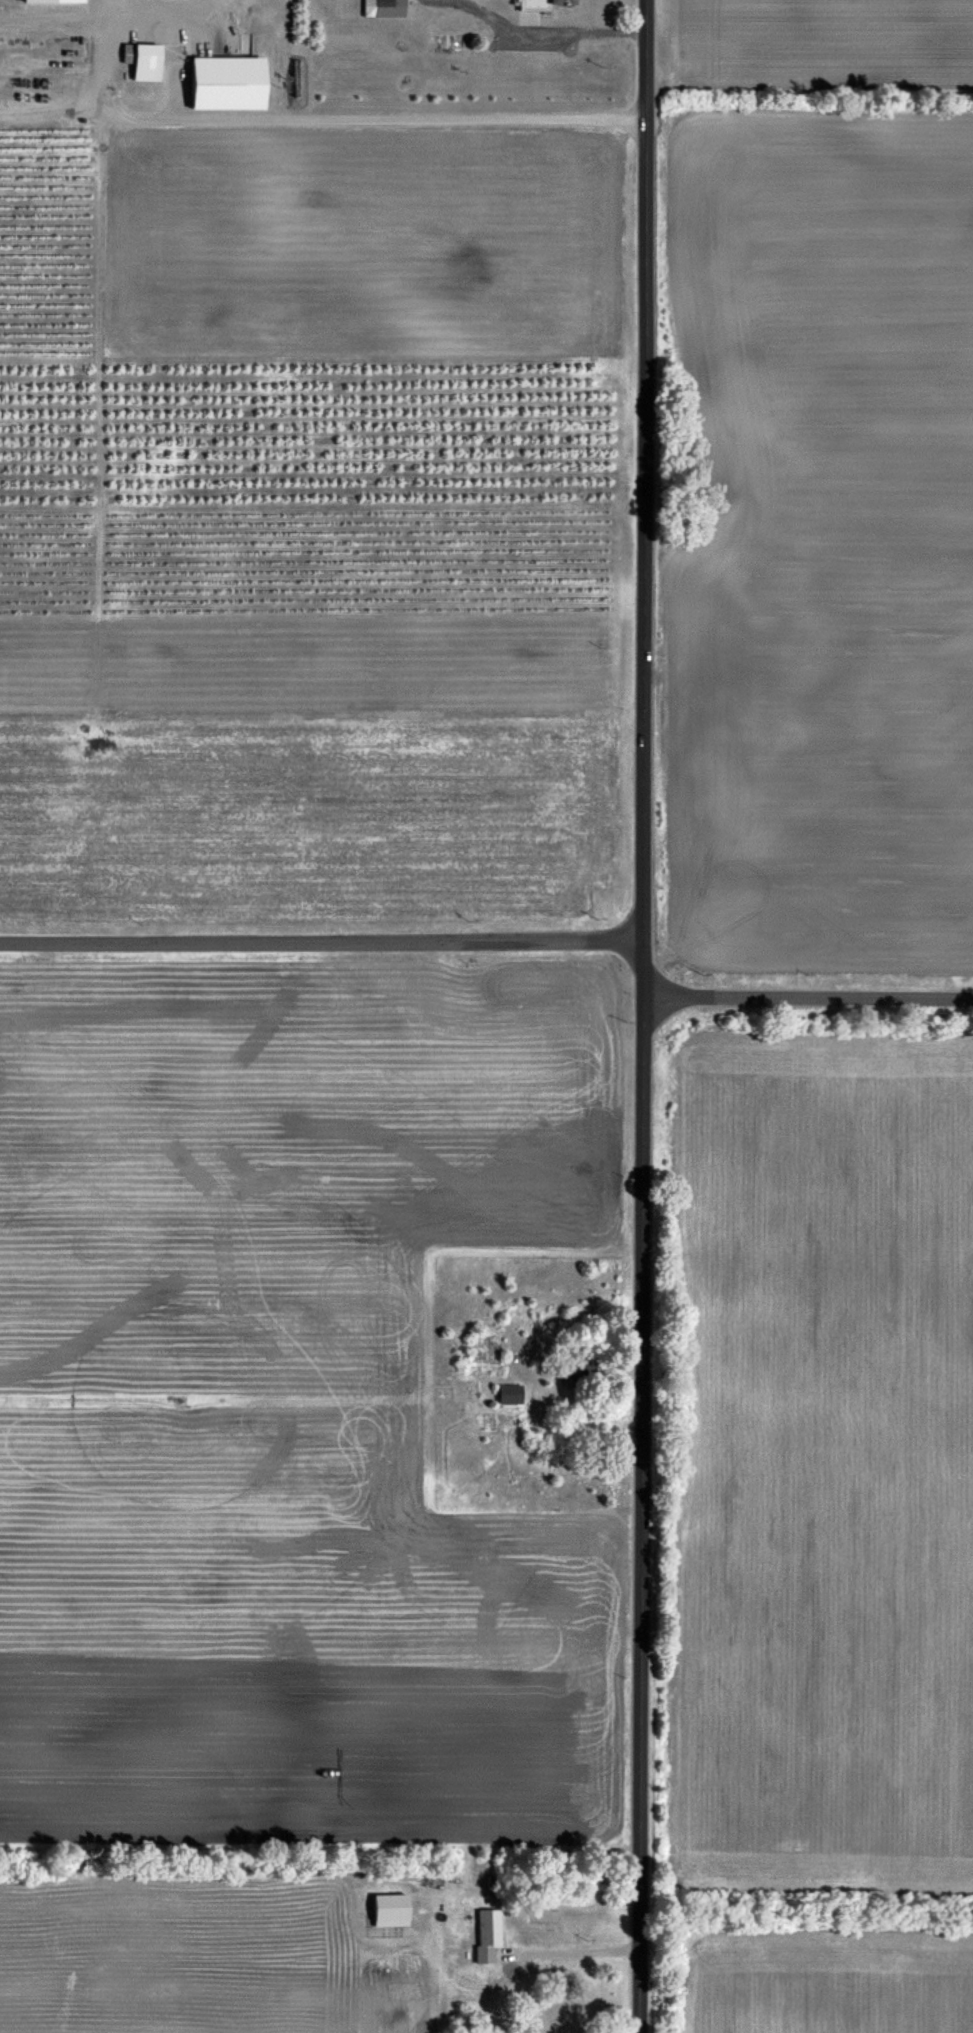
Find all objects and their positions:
building: (535, 4)
building: (376, 9)
road: (50, 23)
road: (105, 25)
road: (541, 36)
building: (141, 63)
building: (220, 83)
road: (54, 117)
road: (104, 263)
road: (321, 942)
road: (808, 999)
road: (643, 1016)
building: (564, 1373)
building: (506, 1394)
building: (481, 1936)
road: (575, 1952)

